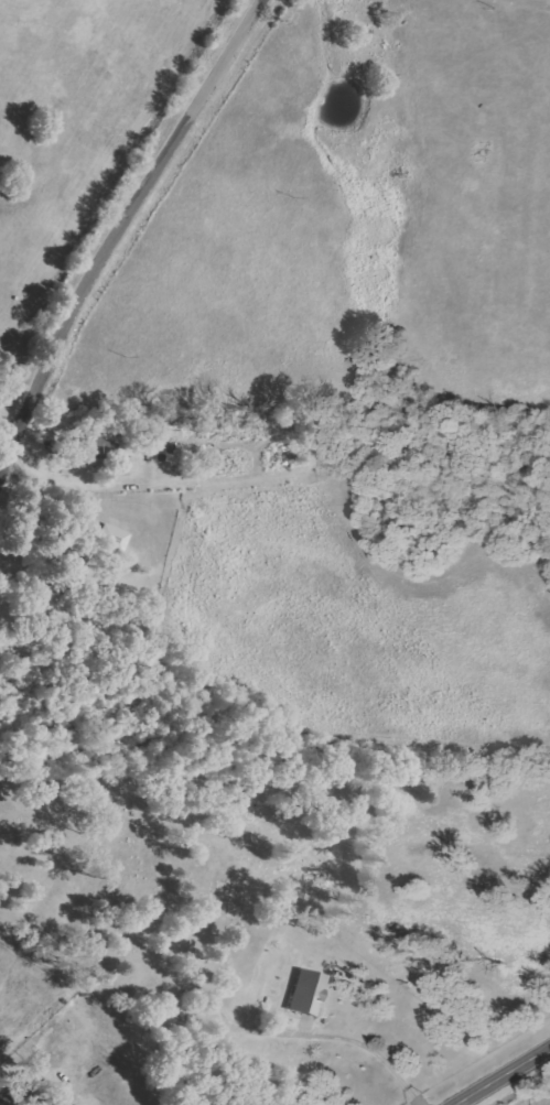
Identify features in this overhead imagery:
road: (114, 227)
building: (112, 538)
building: (306, 993)
road: (374, 1047)
road: (503, 1076)
building: (15, 1095)

